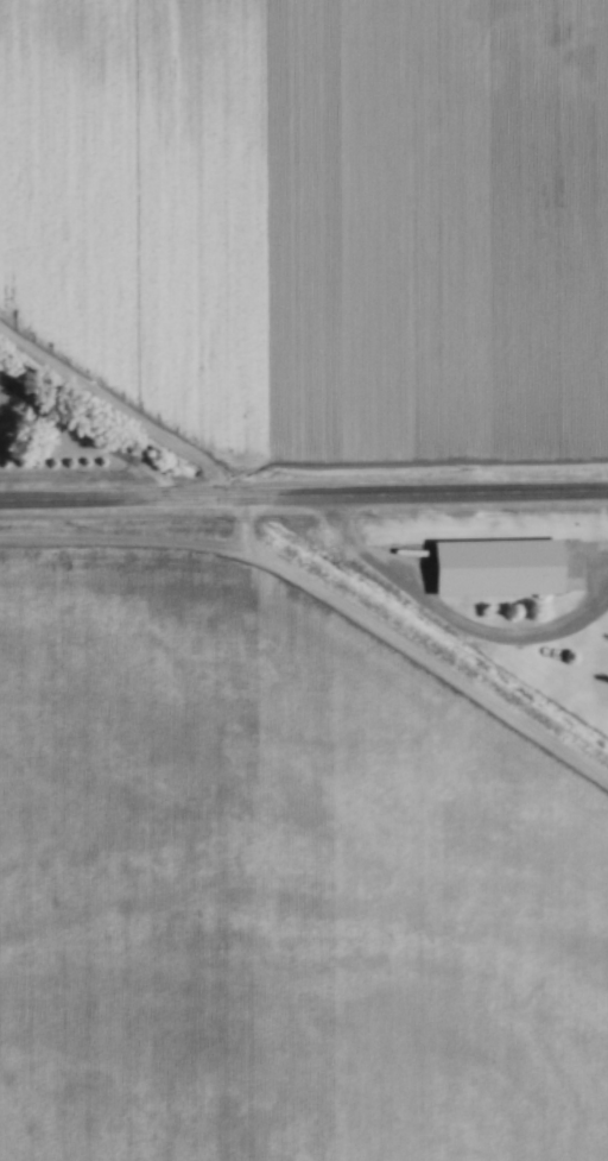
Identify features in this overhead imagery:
road: (303, 492)
building: (500, 566)
road: (452, 614)

